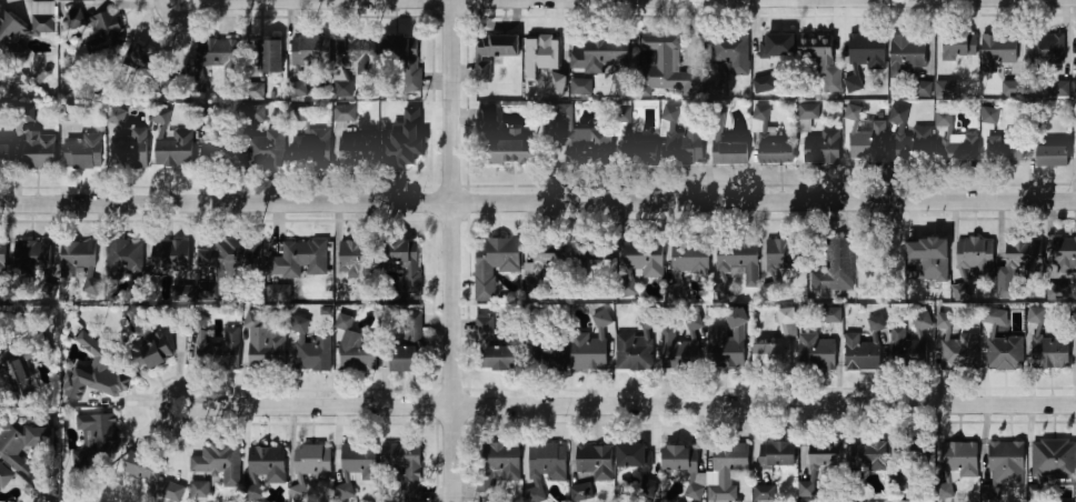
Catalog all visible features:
building: (42, 18)
building: (98, 29)
building: (11, 37)
building: (777, 44)
building: (958, 44)
building: (1044, 48)
building: (310, 50)
building: (212, 51)
building: (868, 51)
building: (820, 52)
building: (999, 52)
building: (492, 53)
building: (907, 53)
building: (357, 54)
building: (271, 56)
building: (730, 56)
building: (403, 58)
building: (599, 58)
building: (545, 59)
building: (143, 61)
building: (662, 66)
building: (557, 83)
building: (764, 83)
building: (854, 83)
building: (169, 86)
building: (581, 86)
building: (718, 88)
building: (924, 88)
building: (946, 88)
building: (1013, 88)
building: (1075, 88)
building: (1059, 89)
building: (258, 90)
building: (298, 90)
building: (809, 111)
building: (71, 112)
building: (346, 112)
building: (854, 112)
building: (252, 113)
building: (298, 113)
building: (990, 114)
building: (159, 116)
building: (944, 118)
building: (574, 137)
building: (403, 138)
building: (909, 138)
building: (500, 141)
building: (870, 142)
building: (128, 144)
building: (686, 145)
building: (175, 148)
building: (266, 148)
building: (821, 148)
building: (311, 149)
building: (1007, 150)
building: (357, 151)
building: (37, 152)
building: (82, 152)
building: (222, 153)
building: (731, 153)
building: (777, 153)
building: (959, 153)
building: (4, 155)
building: (640, 155)
building: (1054, 157)
road: (537, 201)
road: (452, 251)
building: (548, 254)
building: (1064, 254)
building: (3, 255)
building: (975, 255)
building: (33, 257)
building: (1025, 257)
building: (77, 258)
building: (171, 258)
building: (690, 258)
building: (929, 258)
building: (297, 259)
building: (355, 259)
building: (740, 259)
building: (121, 260)
building: (406, 261)
building: (598, 262)
building: (641, 262)
building: (494, 264)
building: (887, 264)
building: (785, 265)
building: (836, 267)
building: (219, 268)
building: (92, 285)
building: (959, 290)
building: (182, 292)
building: (279, 292)
building: (345, 293)
building: (831, 314)
building: (1036, 314)
building: (995, 317)
building: (945, 320)
building: (411, 324)
building: (695, 324)
building: (874, 327)
building: (728, 341)
building: (777, 343)
building: (263, 345)
building: (592, 347)
building: (636, 347)
building: (909, 347)
building: (312, 350)
building: (492, 350)
building: (677, 350)
building: (159, 351)
building: (958, 351)
building: (817, 352)
building: (1006, 352)
building: (1050, 352)
building: (358, 353)
building: (863, 353)
building: (218, 354)
building: (548, 357)
building: (405, 358)
building: (22, 368)
building: (98, 371)
road: (628, 406)
building: (96, 441)
building: (22, 443)
building: (778, 453)
building: (825, 453)
building: (869, 455)
building: (635, 456)
building: (911, 458)
building: (960, 460)
building: (1054, 460)
building: (312, 461)
building: (595, 461)
building: (1007, 461)
building: (219, 462)
building: (267, 464)
building: (498, 464)
building: (357, 465)
building: (546, 465)
building: (406, 466)
building: (145, 468)
building: (4, 472)
building: (679, 473)
building: (899, 483)
building: (200, 489)
building: (807, 489)
building: (580, 492)
building: (765, 493)

